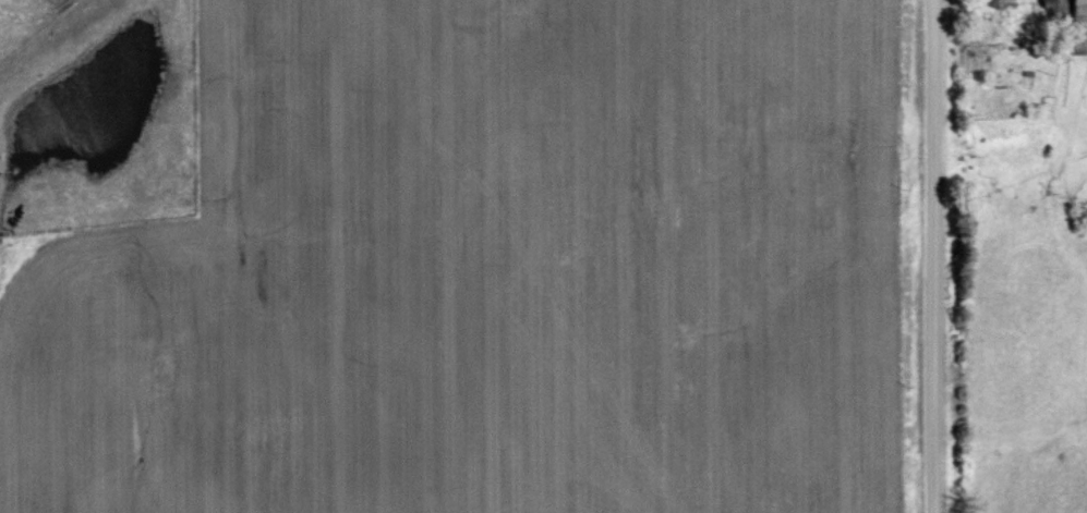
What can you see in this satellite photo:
building: (1076, 11)
road: (941, 256)

